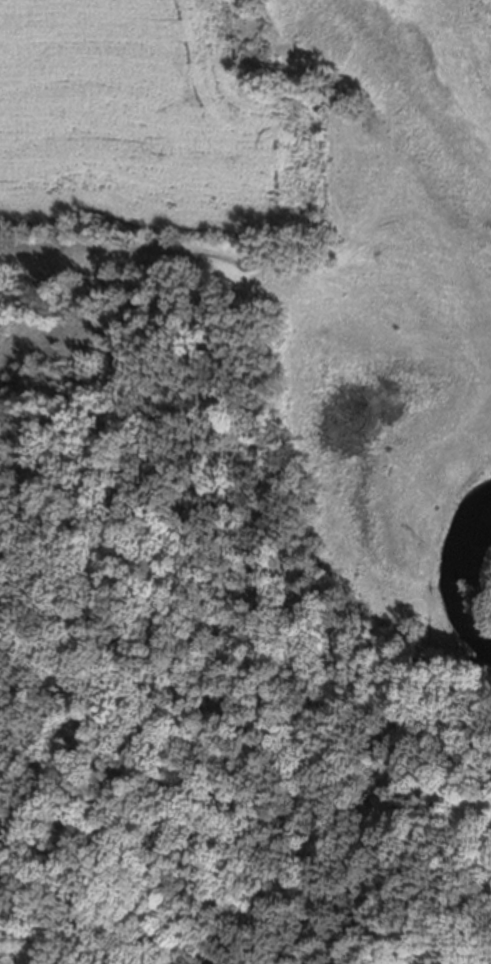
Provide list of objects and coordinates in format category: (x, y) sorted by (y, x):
river: (486, 561)

